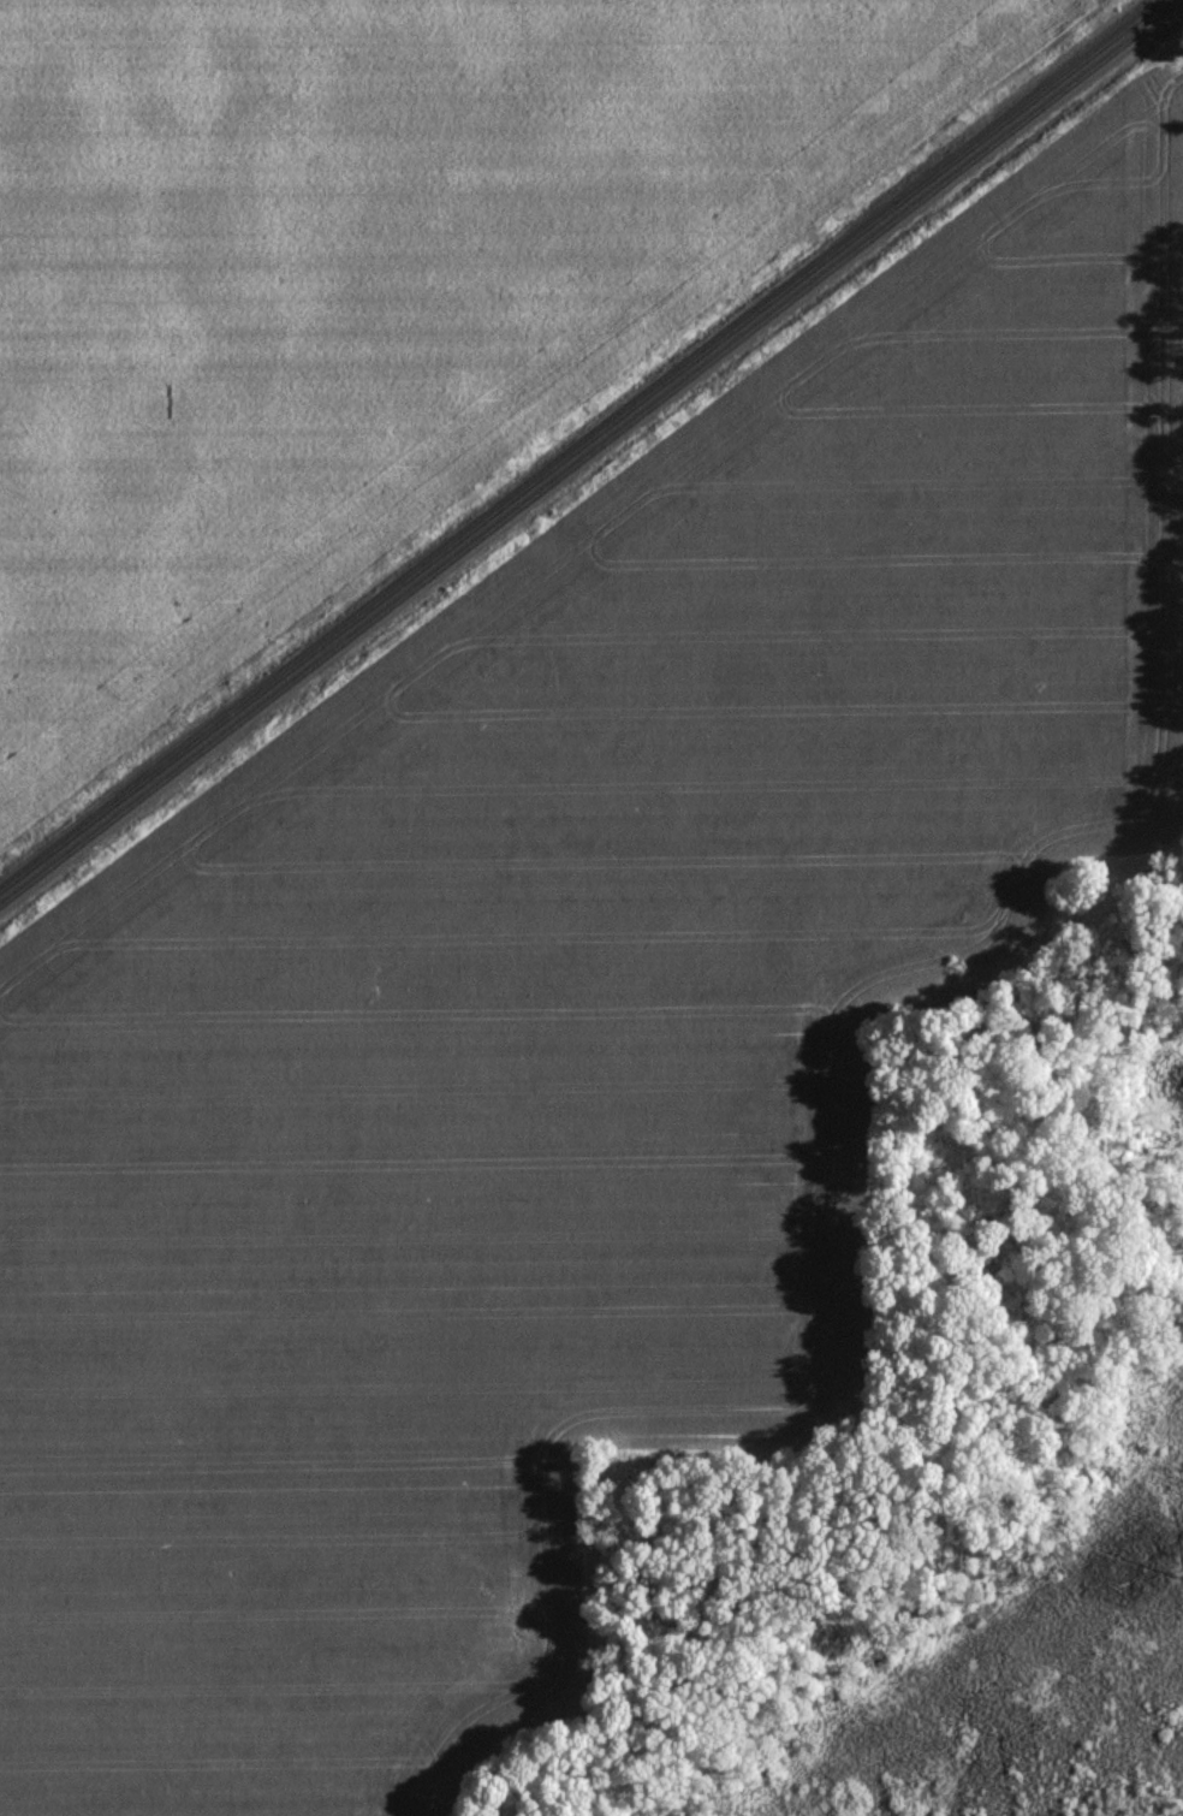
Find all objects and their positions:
railway: (584, 446)
railway: (591, 455)

